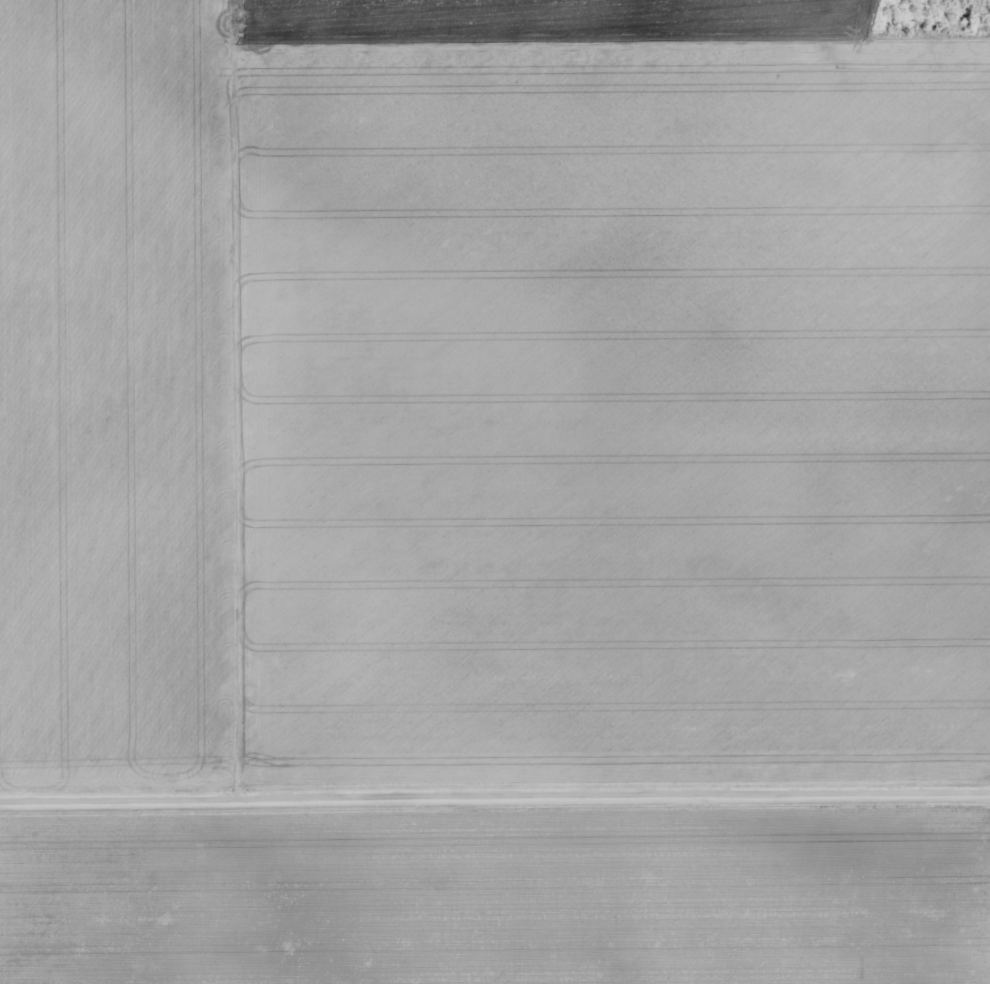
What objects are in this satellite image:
road: (495, 787)

